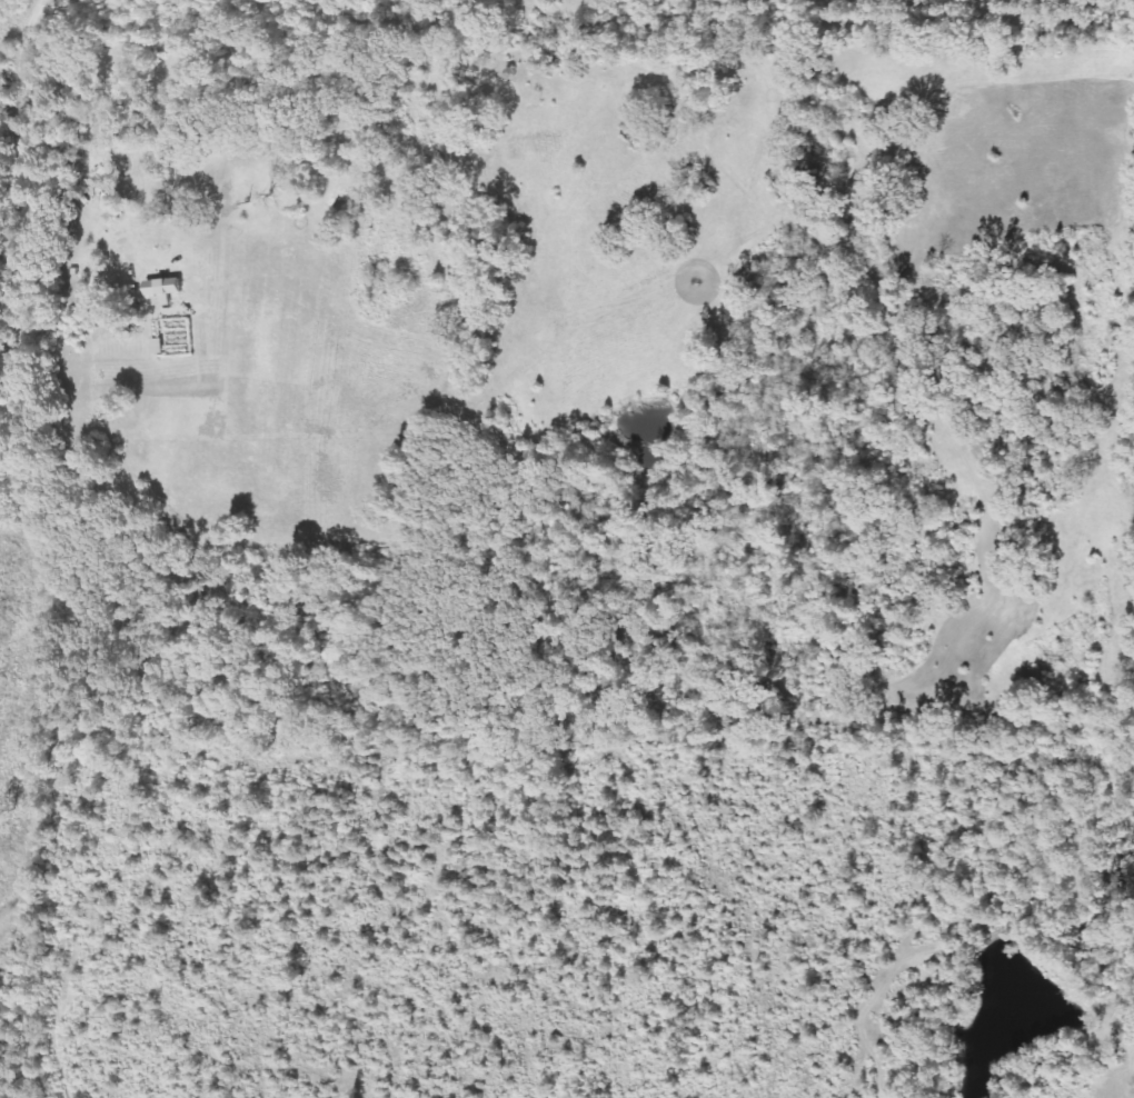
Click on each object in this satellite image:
road: (44, 156)
building: (165, 289)

